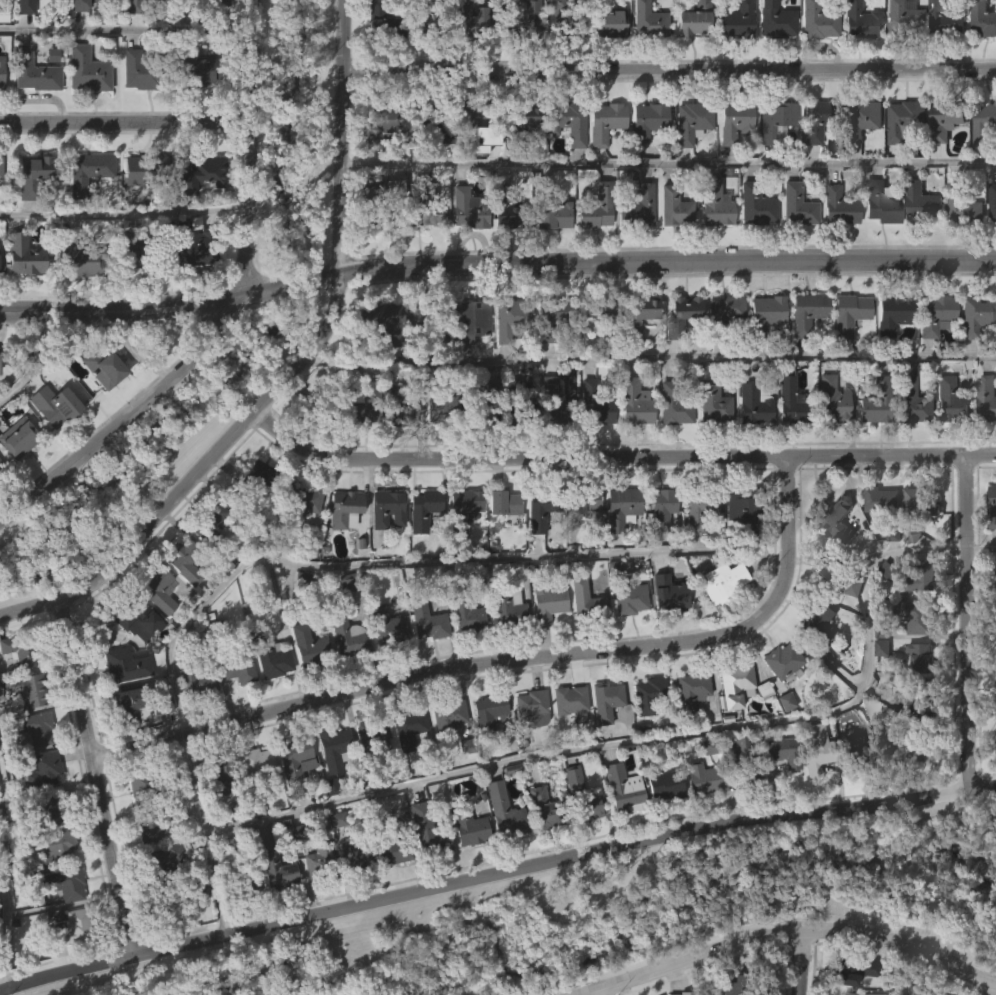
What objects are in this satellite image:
building: (214, 2)
building: (87, 4)
building: (29, 7)
building: (136, 7)
building: (5, 13)
building: (478, 17)
building: (521, 18)
building: (565, 18)
building: (902, 19)
building: (944, 19)
building: (983, 19)
building: (427, 20)
building: (691, 20)
building: (734, 20)
building: (646, 21)
building: (774, 21)
building: (816, 21)
building: (859, 21)
building: (207, 22)
building: (382, 22)
building: (610, 23)
building: (32, 26)
building: (88, 27)
building: (138, 27)
road: (126, 30)
building: (2, 54)
building: (518, 55)
building: (899, 55)
building: (470, 56)
building: (771, 57)
building: (378, 58)
building: (644, 58)
building: (813, 58)
building: (855, 58)
building: (980, 58)
building: (690, 59)
building: (733, 59)
building: (942, 59)
building: (605, 63)
building: (198, 67)
building: (90, 70)
road: (670, 70)
building: (148, 71)
building: (3, 72)
building: (37, 72)
building: (0, 105)
building: (195, 106)
building: (84, 110)
building: (135, 110)
building: (30, 111)
building: (948, 118)
building: (648, 119)
building: (814, 120)
building: (861, 120)
road: (125, 121)
building: (570, 121)
building: (691, 121)
building: (734, 121)
building: (777, 121)
building: (904, 121)
building: (434, 122)
building: (604, 122)
building: (386, 123)
building: (475, 123)
building: (514, 123)
building: (983, 123)
building: (519, 155)
building: (772, 159)
building: (815, 159)
building: (859, 159)
building: (644, 160)
building: (901, 160)
building: (942, 160)
building: (565, 161)
road: (669, 161)
building: (688, 161)
building: (601, 162)
building: (731, 162)
building: (981, 162)
building: (375, 165)
building: (426, 165)
building: (1, 166)
building: (146, 169)
building: (87, 171)
building: (202, 172)
building: (34, 175)
building: (478, 179)
building: (384, 201)
building: (880, 202)
building: (426, 203)
building: (921, 203)
building: (992, 203)
building: (961, 204)
building: (672, 205)
building: (716, 205)
building: (754, 205)
building: (143, 206)
building: (594, 206)
building: (635, 206)
building: (796, 206)
building: (837, 207)
building: (466, 208)
building: (509, 208)
building: (85, 209)
building: (30, 213)
building: (198, 214)
building: (553, 214)
road: (124, 215)
building: (990, 241)
building: (878, 242)
building: (918, 242)
building: (426, 245)
building: (711, 245)
building: (752, 245)
building: (793, 245)
building: (197, 246)
building: (835, 246)
building: (633, 247)
building: (670, 247)
building: (464, 249)
building: (592, 250)
building: (961, 250)
building: (136, 252)
building: (24, 254)
building: (503, 255)
building: (550, 255)
building: (83, 256)
building: (1, 261)
road: (496, 264)
building: (191, 289)
building: (128, 294)
building: (21, 296)
building: (76, 301)
road: (225, 306)
building: (805, 311)
building: (602, 312)
building: (721, 313)
building: (763, 313)
building: (847, 313)
building: (895, 313)
building: (976, 313)
building: (638, 314)
building: (679, 314)
building: (935, 315)
building: (551, 316)
building: (425, 317)
building: (511, 318)
building: (467, 319)
building: (383, 320)
building: (682, 346)
building: (722, 348)
building: (549, 350)
building: (597, 350)
building: (803, 351)
building: (637, 352)
building: (762, 352)
building: (845, 353)
building: (889, 353)
building: (973, 353)
road: (651, 354)
building: (931, 354)
building: (506, 357)
road: (37, 359)
building: (466, 360)
building: (379, 362)
building: (108, 364)
building: (671, 368)
road: (290, 372)
building: (830, 398)
building: (985, 398)
building: (910, 400)
building: (950, 400)
building: (478, 401)
building: (752, 401)
building: (790, 401)
building: (875, 401)
building: (56, 402)
building: (320, 402)
building: (555, 402)
building: (632, 402)
building: (711, 402)
building: (593, 403)
building: (515, 405)
building: (672, 405)
building: (365, 406)
building: (100, 407)
building: (400, 407)
building: (440, 408)
building: (508, 425)
building: (19, 438)
building: (548, 438)
building: (828, 438)
building: (984, 438)
building: (906, 439)
building: (786, 440)
building: (872, 441)
building: (632, 442)
building: (947, 442)
building: (710, 443)
building: (749, 444)
building: (51, 445)
building: (436, 449)
building: (392, 450)
building: (592, 450)
building: (672, 450)
building: (359, 452)
road: (617, 456)
building: (3, 471)
building: (258, 476)
building: (622, 498)
building: (583, 501)
building: (882, 501)
building: (298, 502)
building: (504, 503)
building: (923, 503)
building: (697, 506)
building: (744, 506)
building: (993, 507)
building: (388, 508)
building: (421, 508)
building: (463, 508)
building: (1, 509)
building: (341, 509)
building: (538, 509)
building: (662, 509)
building: (256, 512)
building: (840, 519)
building: (210, 524)
building: (877, 539)
building: (581, 541)
building: (916, 541)
building: (299, 542)
building: (500, 542)
road: (981, 545)
building: (658, 546)
building: (990, 546)
building: (461, 547)
building: (618, 547)
building: (384, 548)
building: (341, 549)
building: (736, 549)
building: (420, 551)
building: (695, 552)
building: (534, 555)
building: (184, 559)
road: (311, 562)
building: (209, 563)
building: (836, 576)
building: (919, 577)
building: (719, 582)
building: (157, 587)
building: (666, 593)
building: (627, 597)
building: (546, 600)
building: (586, 600)
building: (183, 604)
building: (506, 608)
building: (885, 610)
building: (464, 613)
building: (995, 614)
building: (134, 616)
building: (916, 616)
building: (425, 620)
building: (719, 621)
building: (837, 621)
road: (967, 621)
building: (817, 622)
building: (386, 624)
building: (155, 629)
building: (663, 632)
building: (347, 633)
building: (582, 639)
building: (625, 639)
building: (545, 642)
building: (309, 646)
building: (505, 647)
building: (23, 649)
building: (268, 655)
building: (995, 656)
building: (464, 657)
building: (918, 657)
building: (780, 659)
building: (423, 660)
road: (508, 661)
building: (812, 661)
building: (126, 662)
building: (235, 665)
building: (382, 665)
building: (345, 676)
building: (196, 678)
building: (736, 684)
building: (305, 685)
building: (28, 688)
building: (878, 688)
building: (689, 689)
building: (650, 693)
building: (917, 697)
building: (568, 698)
building: (778, 699)
building: (269, 700)
building: (604, 700)
building: (130, 703)
building: (235, 708)
building: (528, 708)
building: (485, 713)
building: (446, 714)
building: (195, 721)
building: (730, 724)
building: (34, 727)
building: (406, 727)
building: (687, 730)
building: (368, 731)
building: (645, 734)
road: (648, 737)
building: (995, 738)
building: (602, 740)
building: (567, 742)
building: (125, 745)
building: (915, 745)
building: (332, 749)
building: (527, 749)
building: (485, 750)
building: (819, 750)
building: (859, 752)
building: (784, 753)
building: (446, 755)
building: (293, 758)
building: (742, 759)
building: (253, 764)
building: (404, 767)
building: (214, 769)
building: (43, 770)
building: (368, 770)
road: (95, 776)
building: (700, 778)
building: (995, 780)
building: (851, 783)
building: (146, 784)
building: (666, 784)
building: (330, 788)
building: (624, 788)
building: (812, 789)
building: (779, 792)
building: (581, 796)
building: (292, 799)
building: (252, 800)
building: (543, 808)
building: (51, 811)
building: (505, 812)
building: (215, 813)
building: (750, 814)
building: (700, 818)
building: (569, 819)
building: (156, 821)
building: (138, 824)
building: (660, 825)
building: (328, 826)
building: (466, 826)
building: (620, 829)
building: (426, 830)
building: (392, 845)
building: (583, 846)
building: (58, 847)
building: (540, 848)
building: (500, 851)
building: (357, 853)
building: (321, 861)
building: (164, 863)
building: (424, 869)
building: (467, 869)
building: (274, 871)
road: (495, 873)
road: (6, 874)
building: (64, 883)
building: (389, 890)
building: (353, 893)
building: (316, 899)
building: (165, 904)
building: (273, 910)
building: (247, 926)
building: (70, 928)
road: (788, 932)
road: (801, 963)
road: (895, 967)
building: (69, 968)
building: (853, 970)
road: (704, 975)
building: (747, 984)
building: (917, 990)
road: (992, 990)
road: (596, 992)
building: (856, 994)

